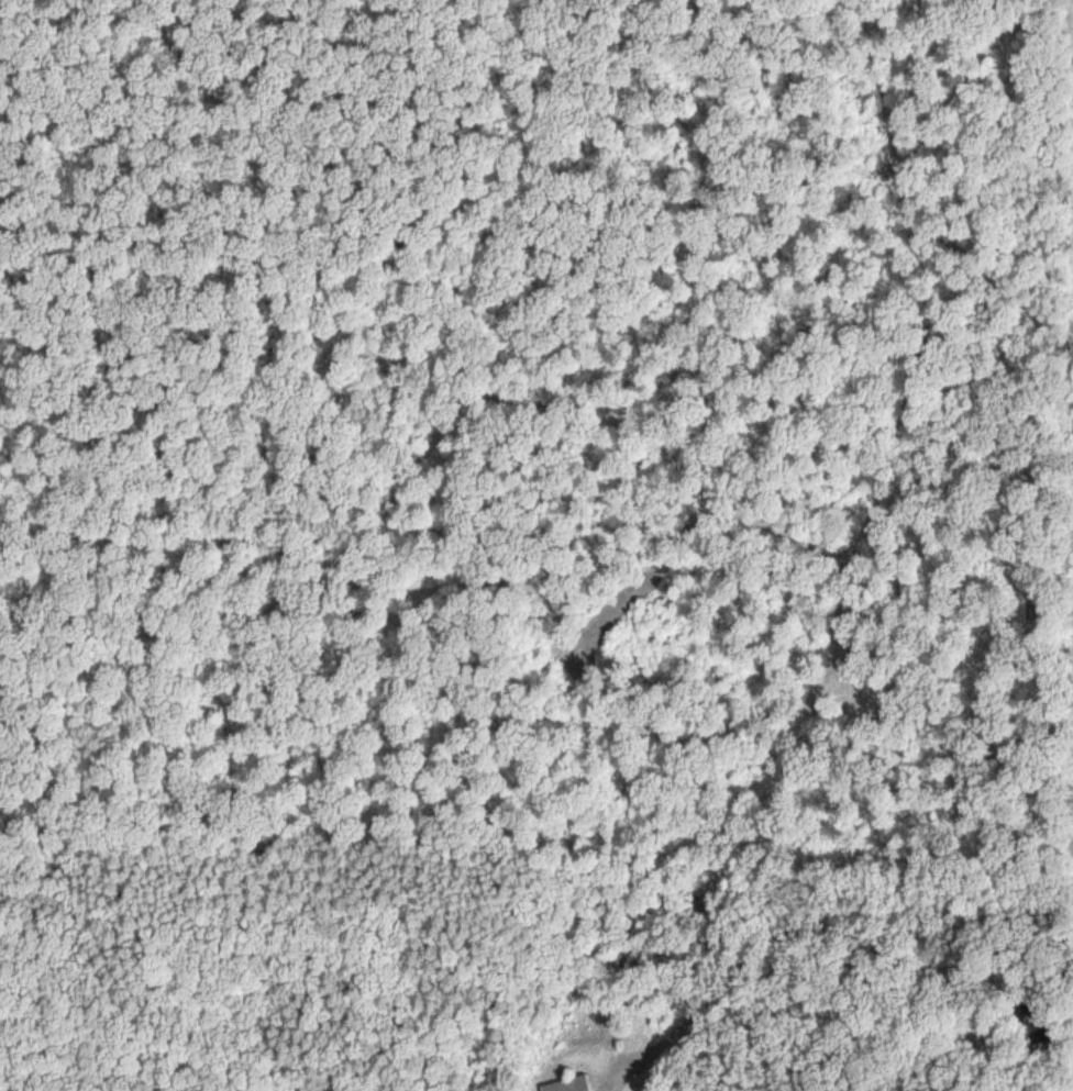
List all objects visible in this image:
road: (842, 943)
building: (573, 1084)

